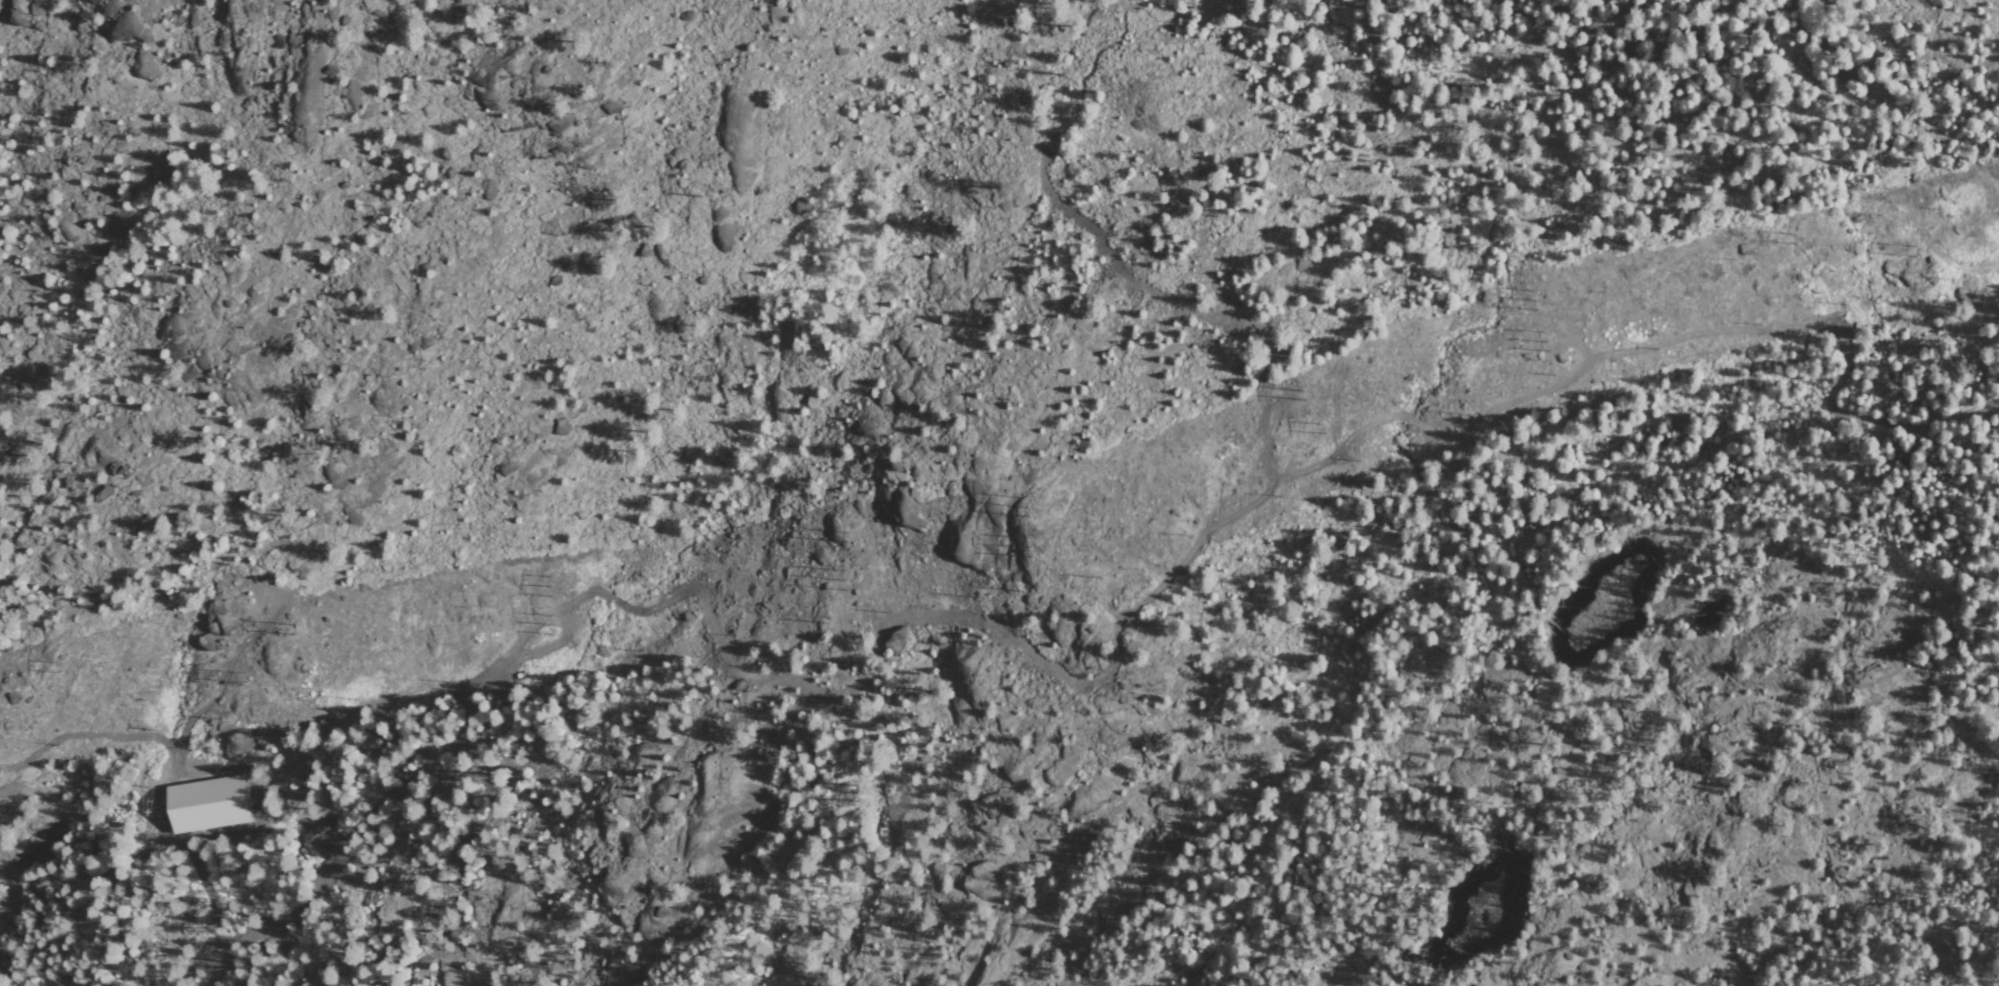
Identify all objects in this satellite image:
power tower: (1798, 237)
power tower: (1914, 250)
power tower: (1535, 299)
power tower: (1545, 336)
power tower: (1312, 388)
power tower: (1325, 427)
power tower: (1034, 506)
power tower: (850, 534)
power tower: (1035, 547)
power tower: (846, 577)
power tower: (555, 585)
power tower: (294, 624)
power tower: (557, 624)
power tower: (59, 663)
power tower: (240, 674)
power substation: (206, 800)
building: (199, 805)
road: (263, 884)

